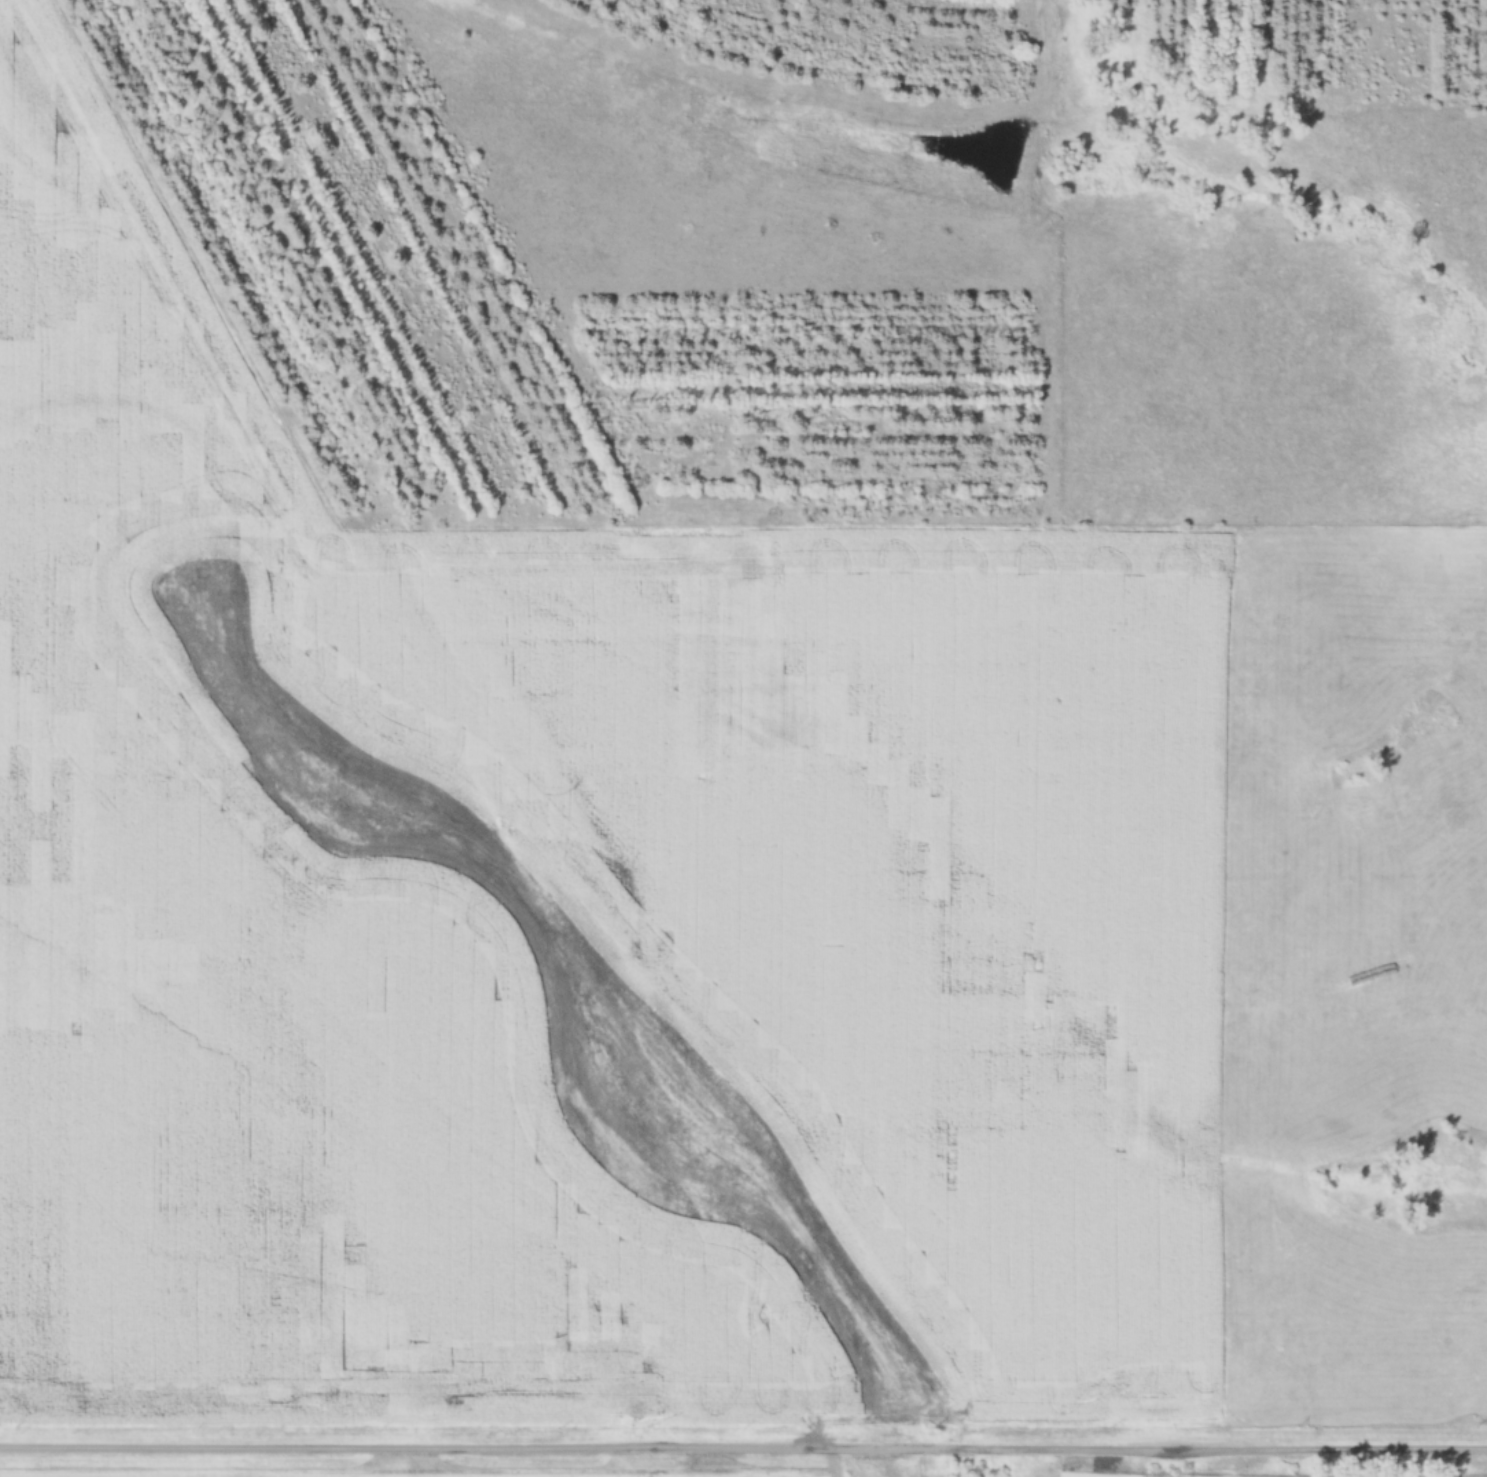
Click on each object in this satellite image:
building: (34, 1133)
road: (743, 1450)
road: (843, 1463)

